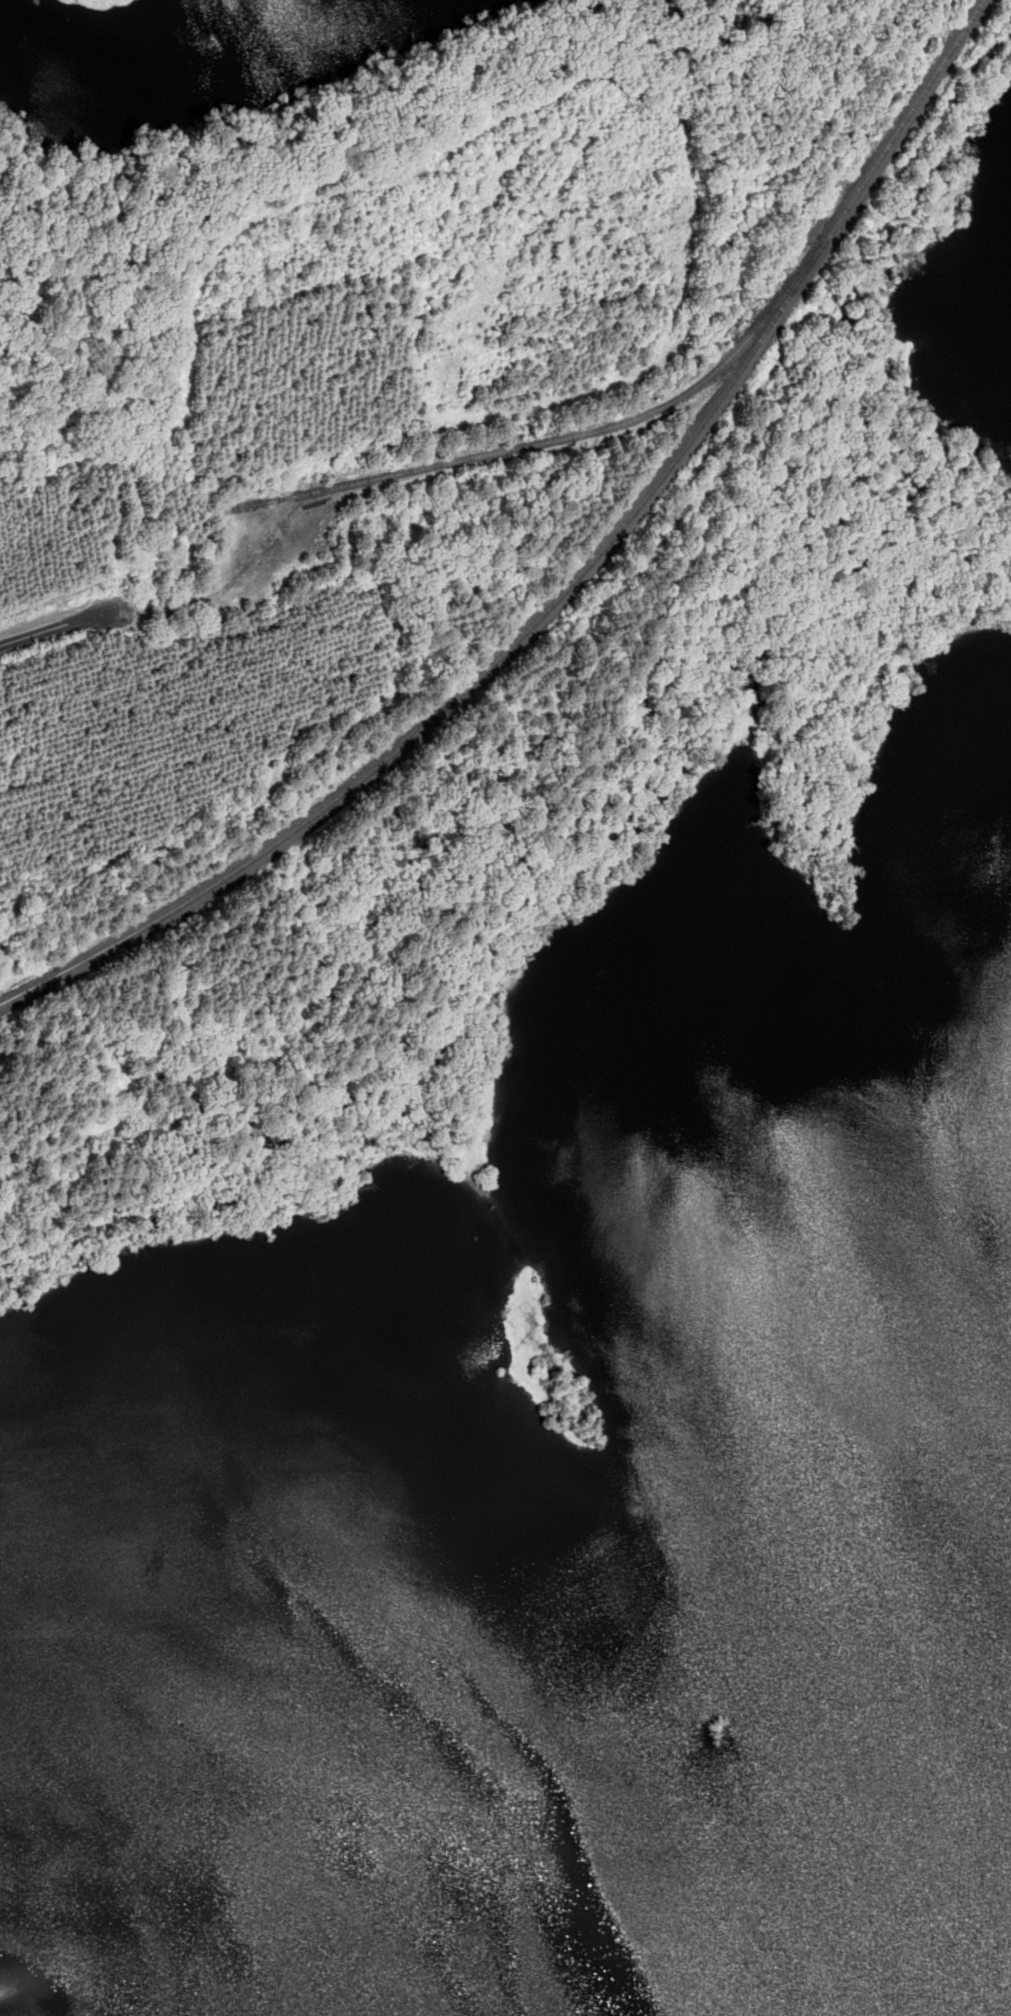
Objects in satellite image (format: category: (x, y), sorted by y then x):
road: (709, 270)
railway: (571, 435)
road: (135, 516)
railway: (571, 583)
road: (218, 590)
road: (59, 627)
river: (275, 1856)

